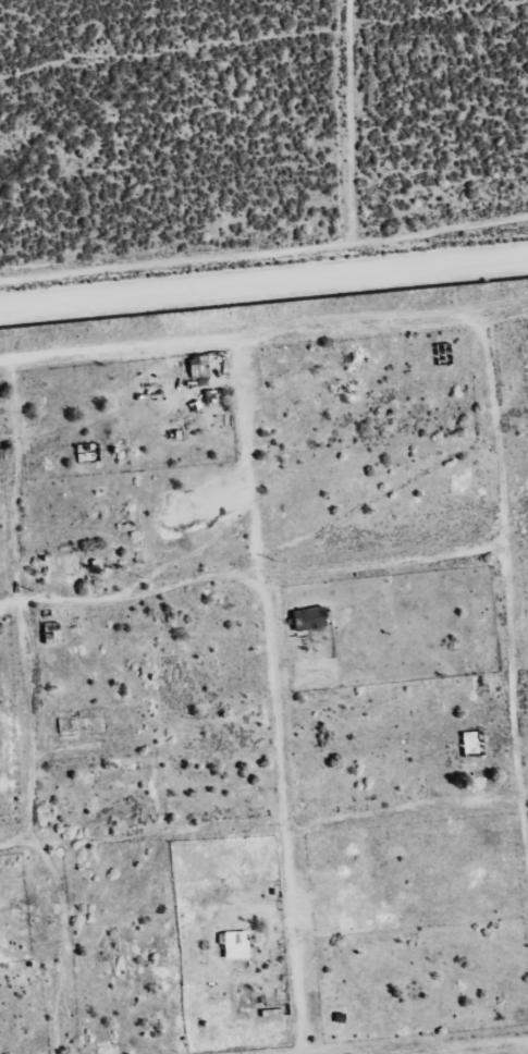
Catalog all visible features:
road: (263, 280)
road: (495, 303)
road: (353, 324)
road: (116, 348)
building: (196, 367)
road: (516, 544)
road: (381, 561)
road: (130, 598)
road: (506, 598)
building: (306, 618)
road: (271, 695)
road: (26, 711)
road: (523, 795)
road: (341, 814)
road: (15, 843)
building: (233, 945)
road: (440, 1047)

